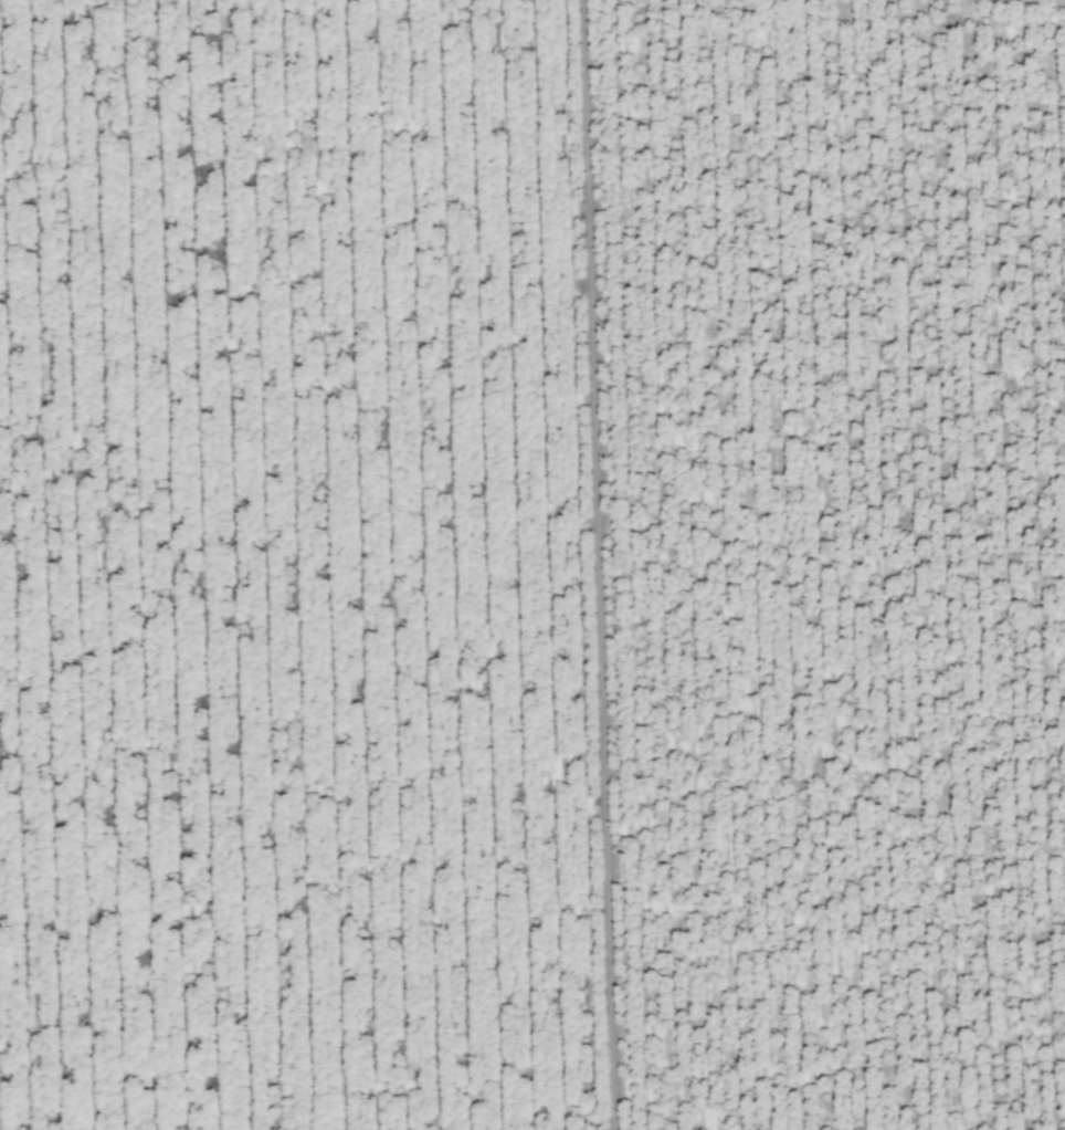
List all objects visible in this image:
road: (594, 565)

